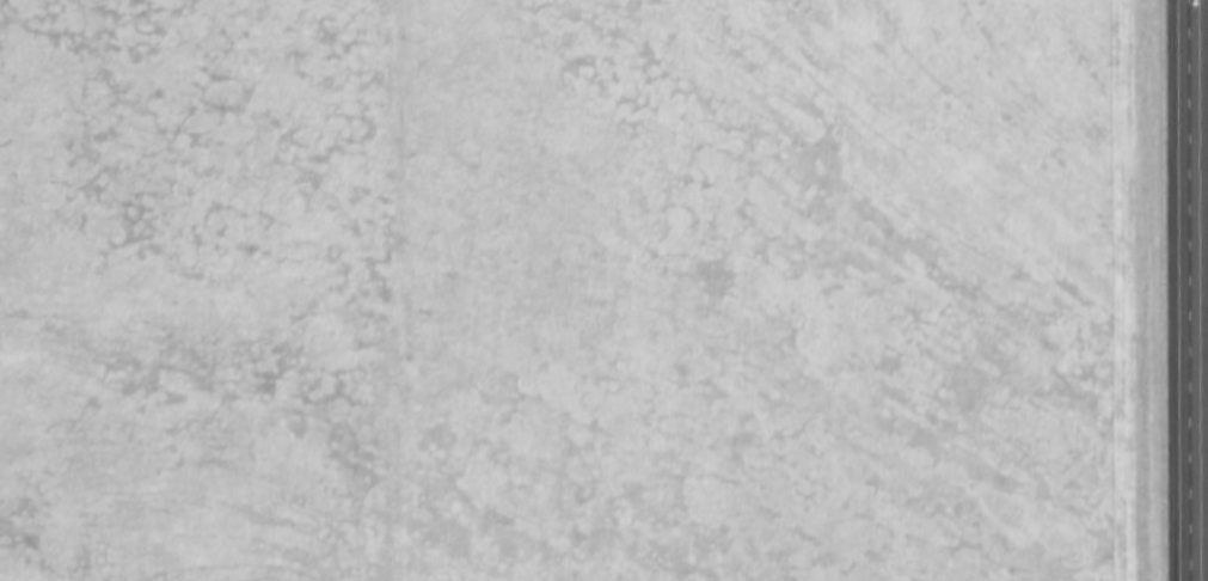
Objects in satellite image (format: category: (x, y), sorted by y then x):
road: (1207, 54)

